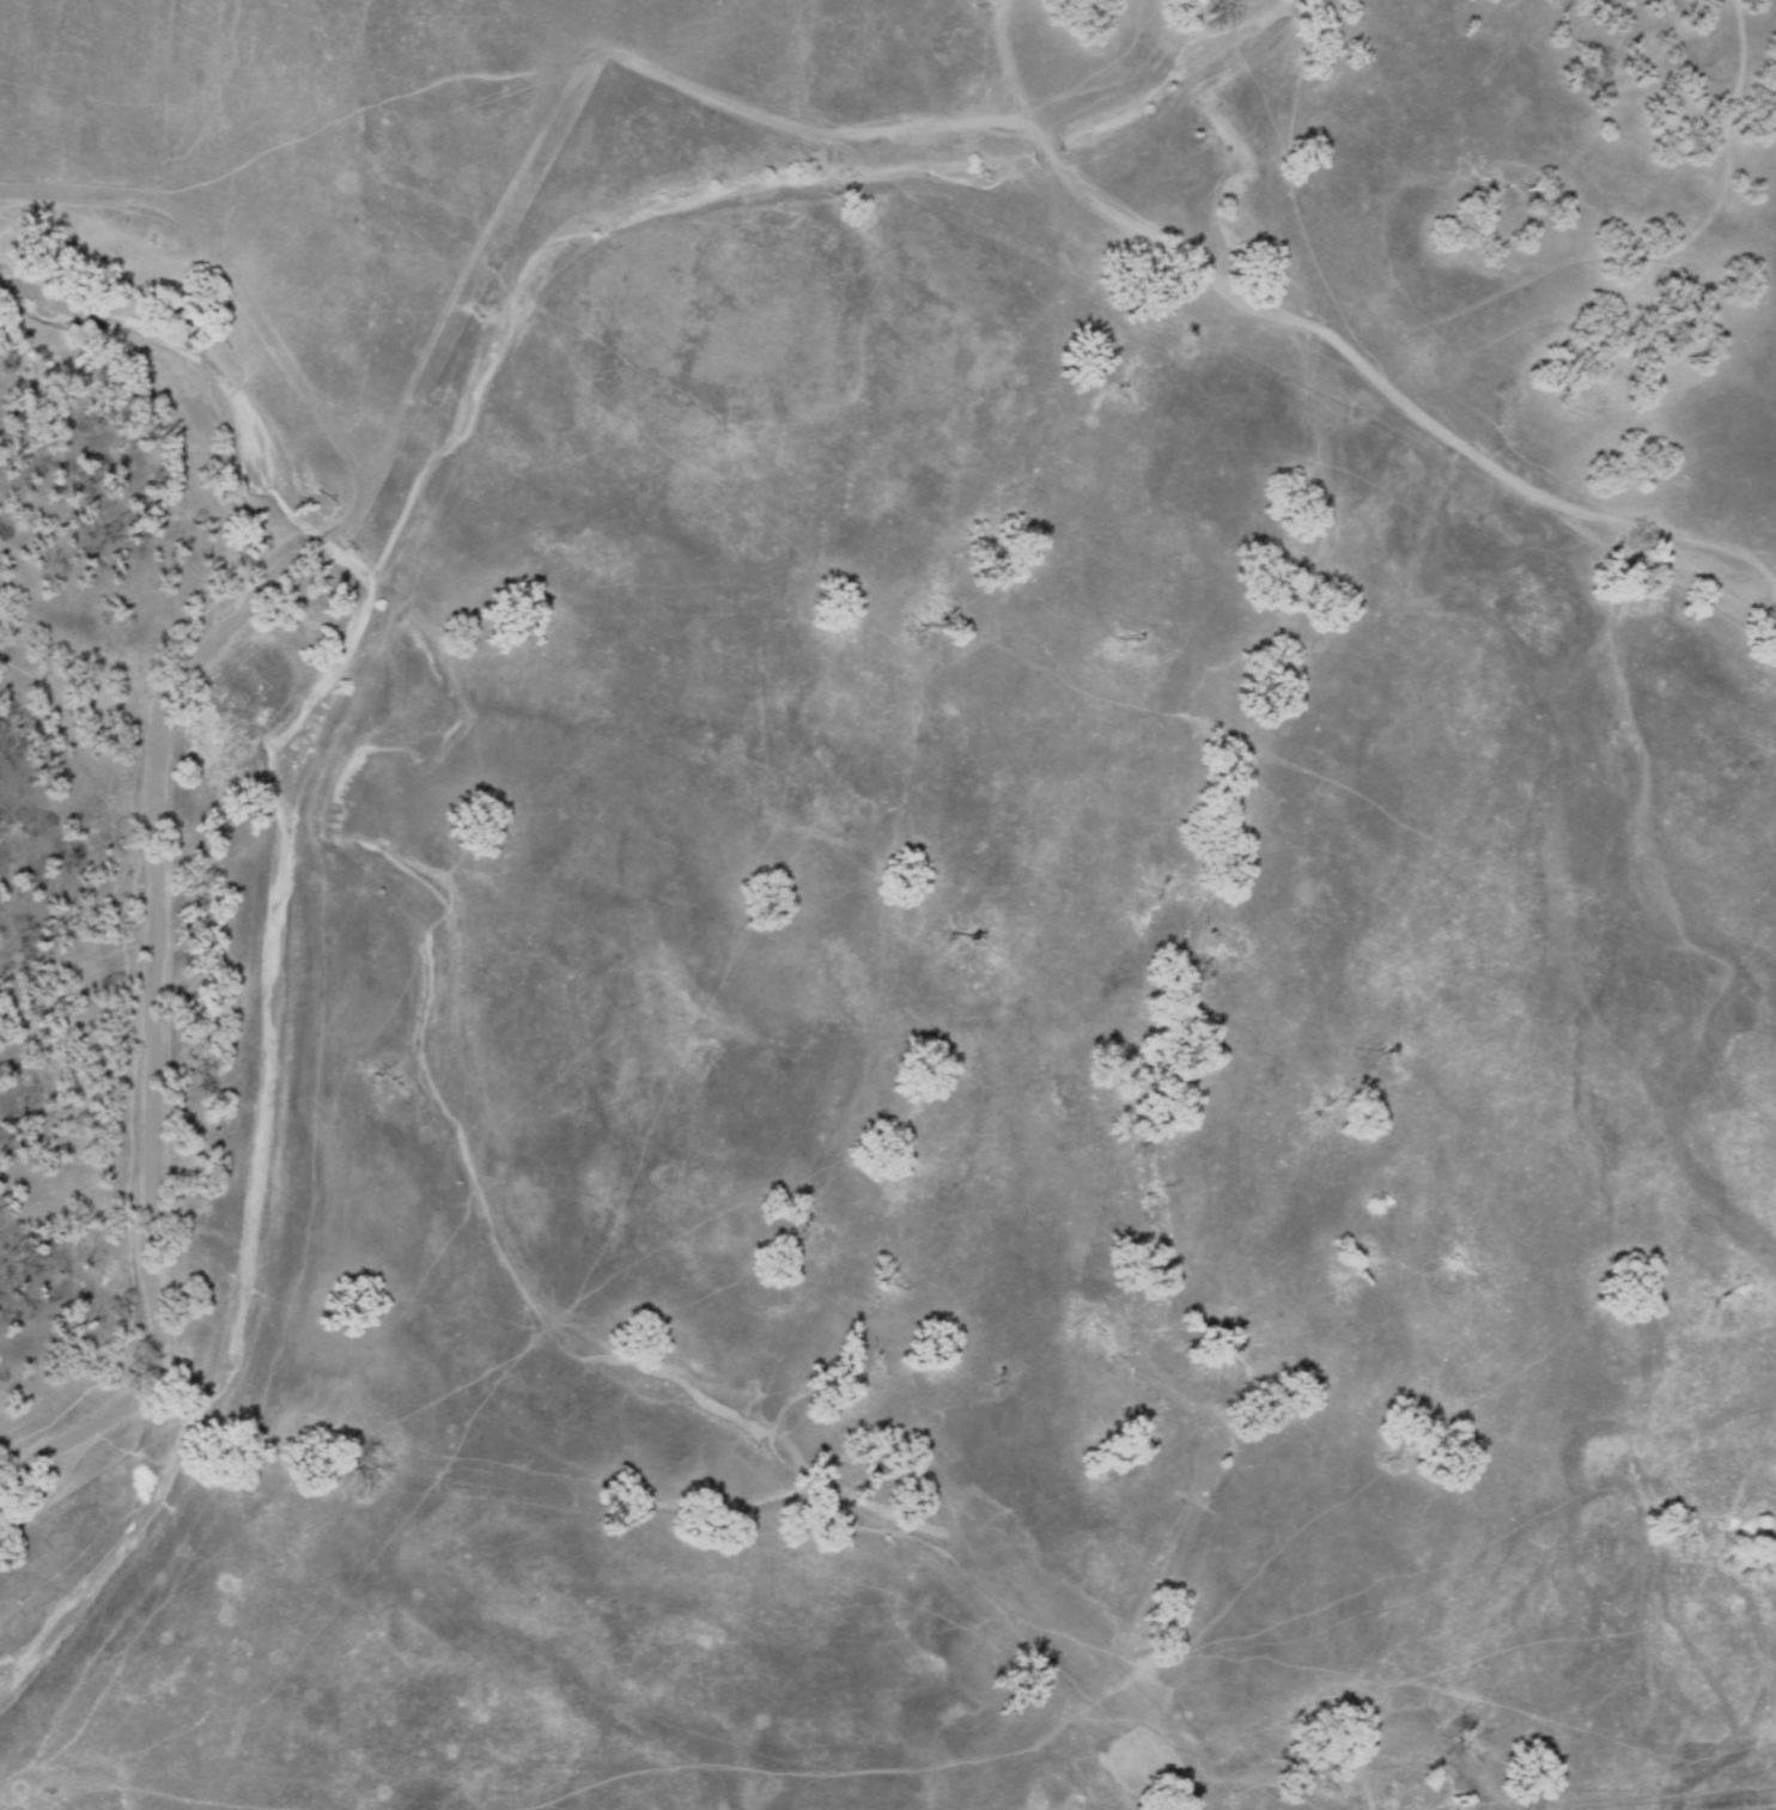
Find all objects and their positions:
road: (1003, 63)
road: (1173, 74)
road: (511, 176)
road: (225, 268)

